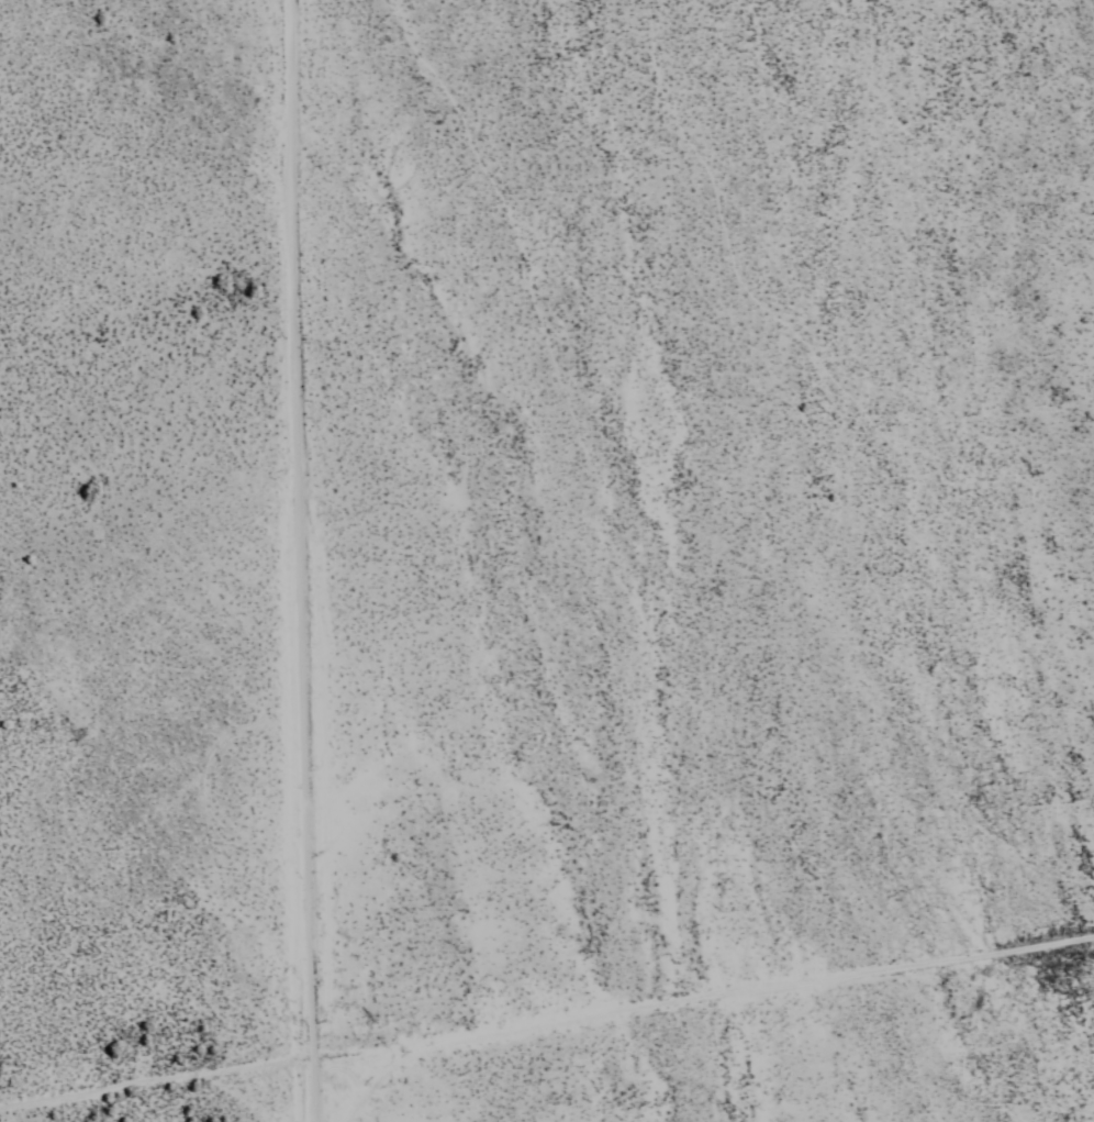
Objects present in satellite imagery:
road: (289, 560)
road: (695, 1000)
road: (147, 1081)

